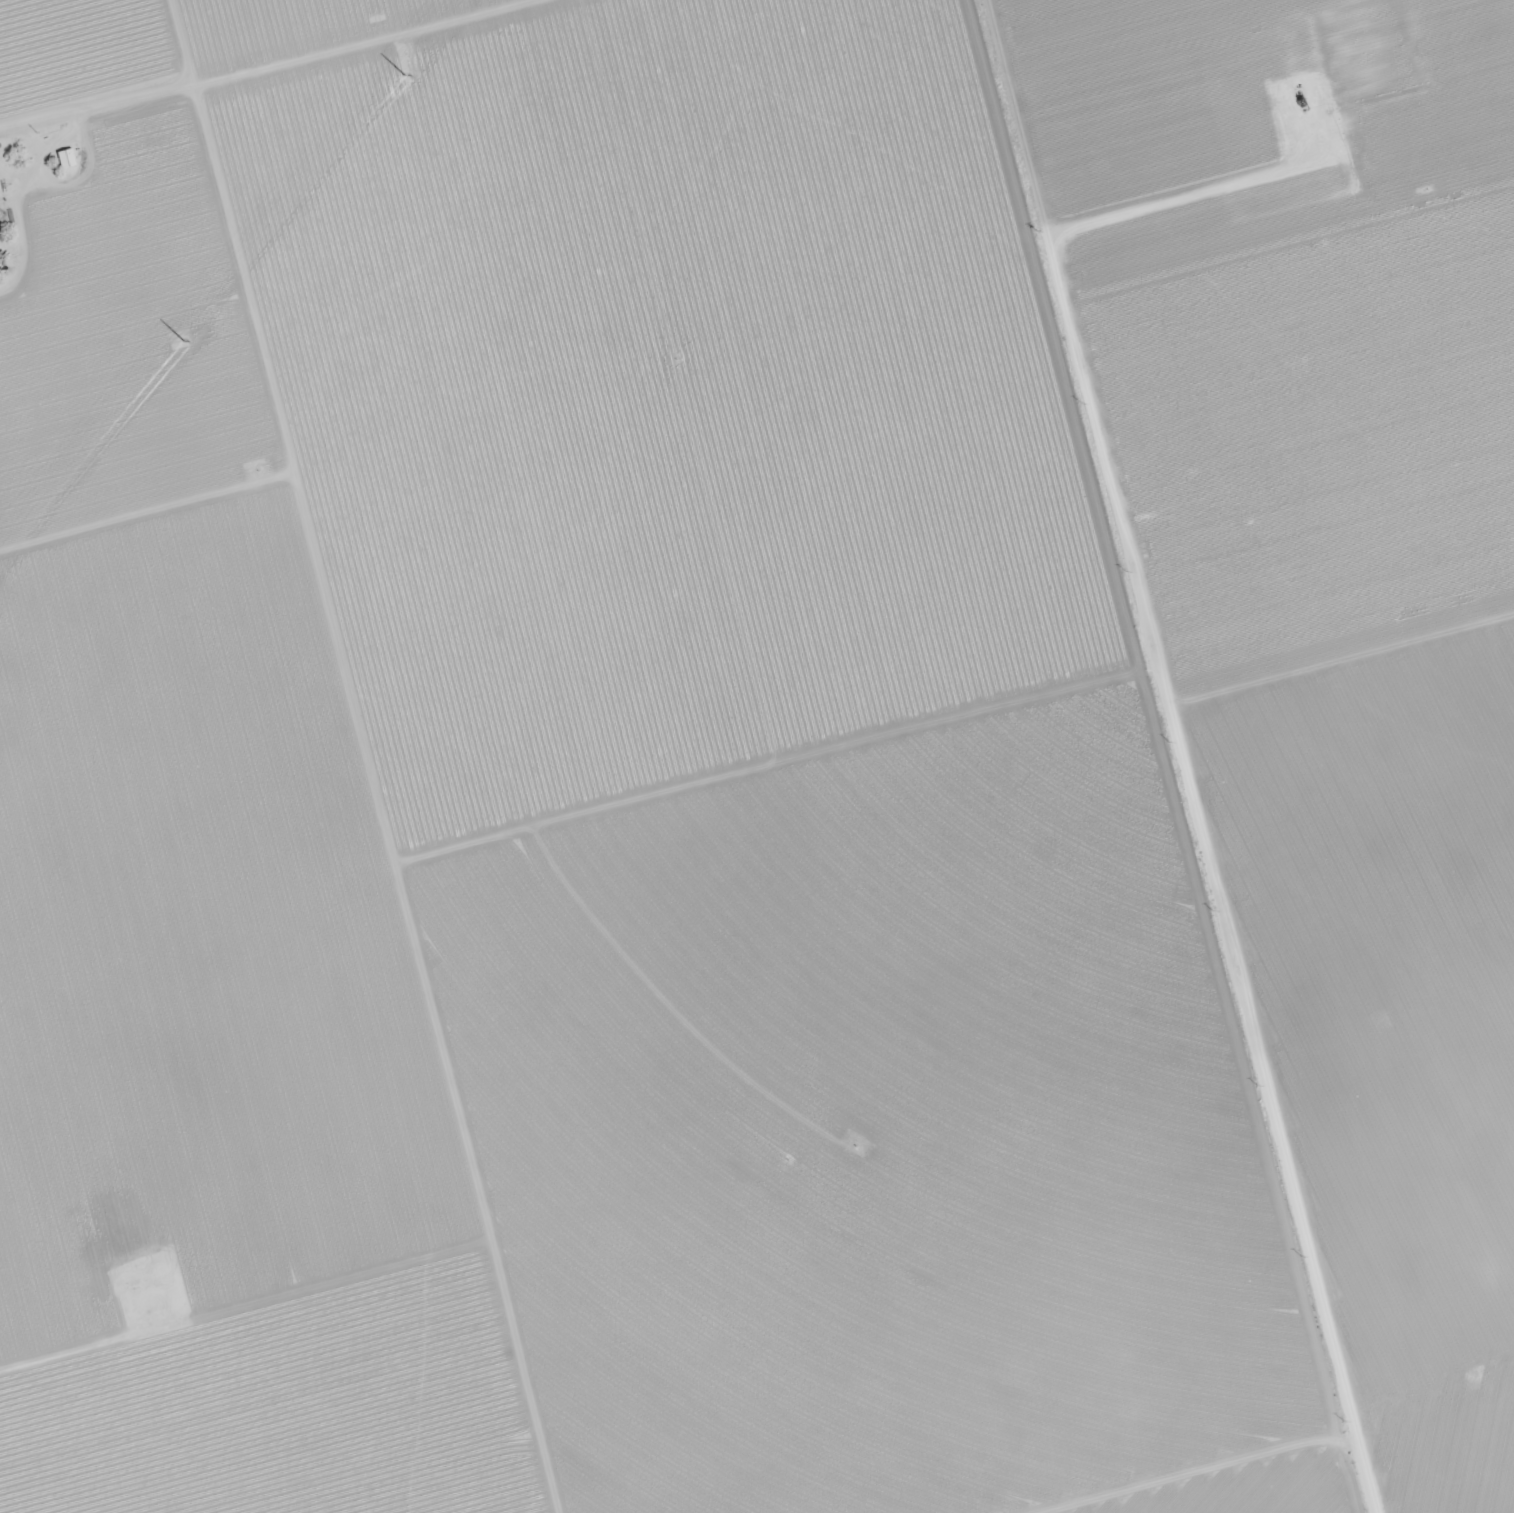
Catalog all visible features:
power tower: (409, 66)
power tower: (190, 331)

